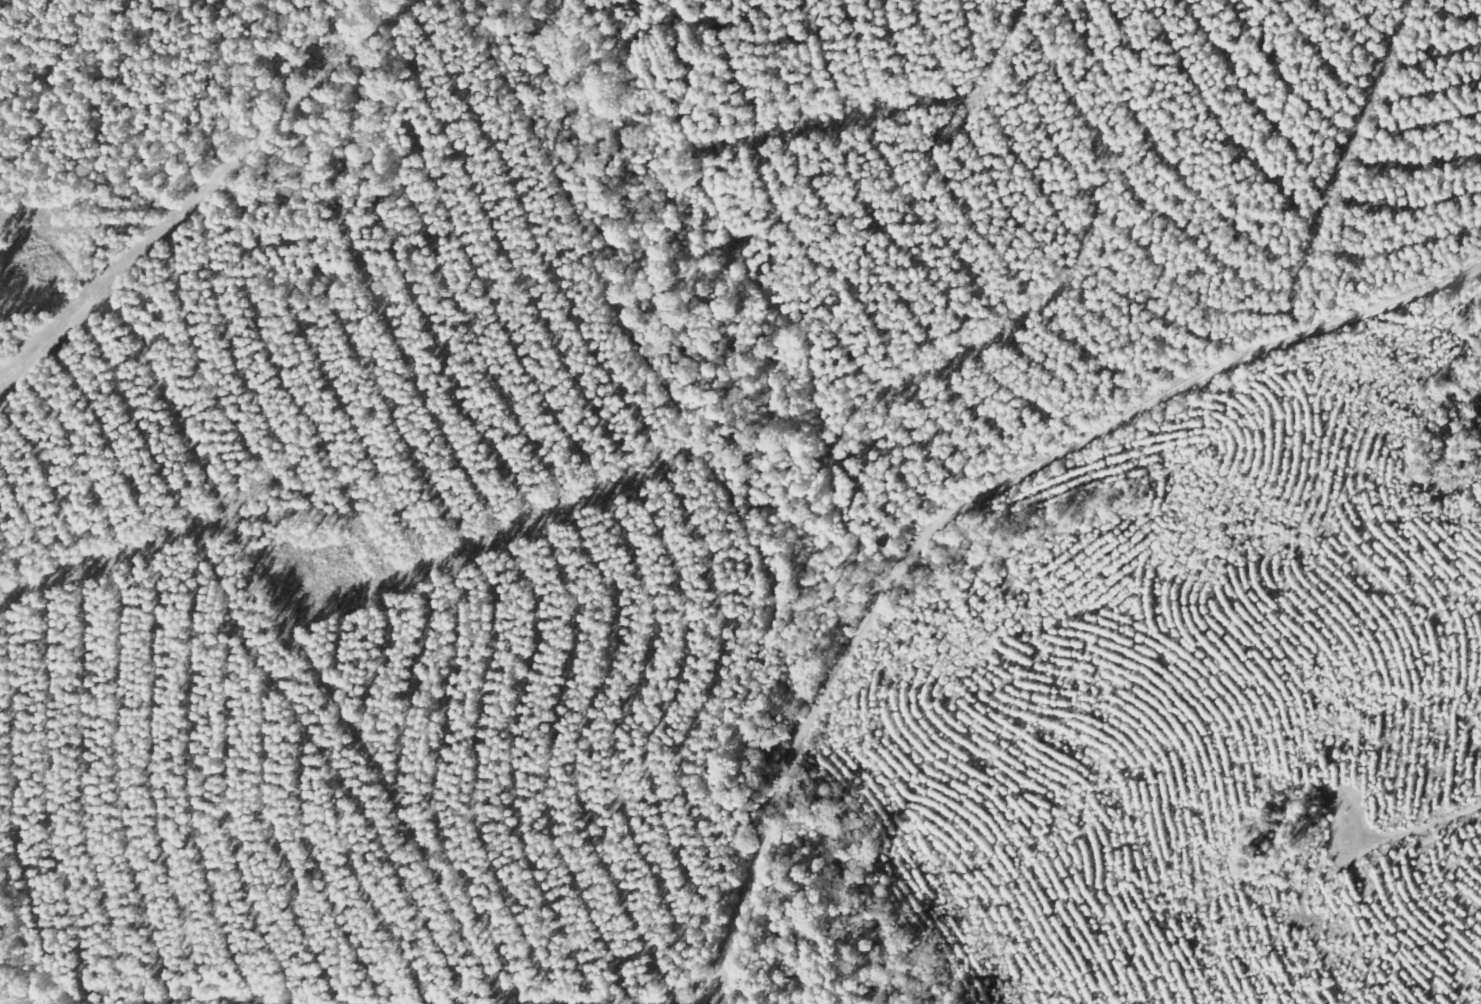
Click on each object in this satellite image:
road: (1031, 516)

